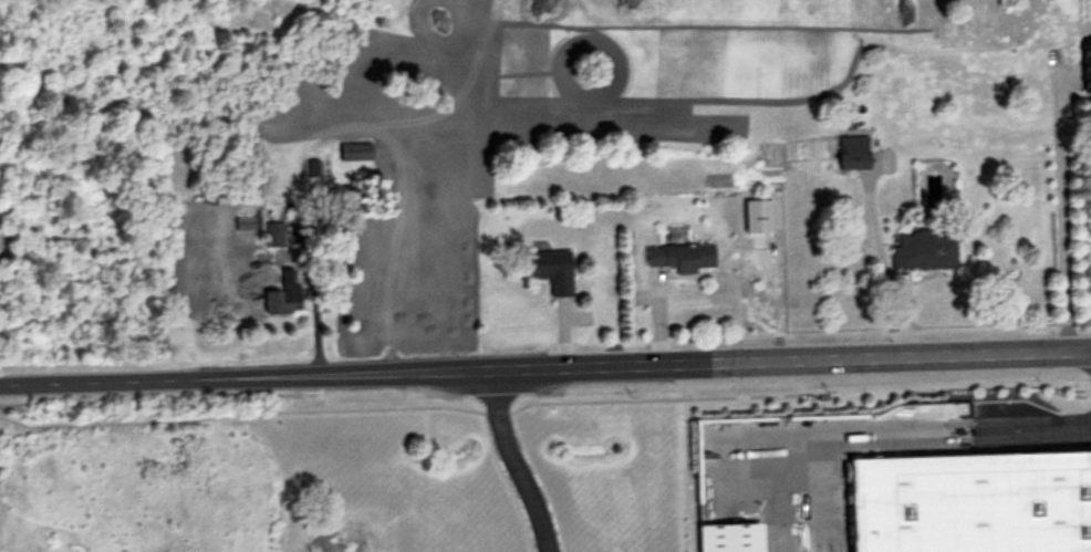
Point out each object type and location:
building: (1087, 70)
building: (354, 153)
building: (852, 153)
road: (1058, 209)
building: (923, 250)
building: (679, 257)
building: (552, 270)
building: (280, 295)
road: (889, 295)
road: (544, 366)
road: (798, 394)
road: (240, 414)
road: (510, 461)
building: (974, 502)

